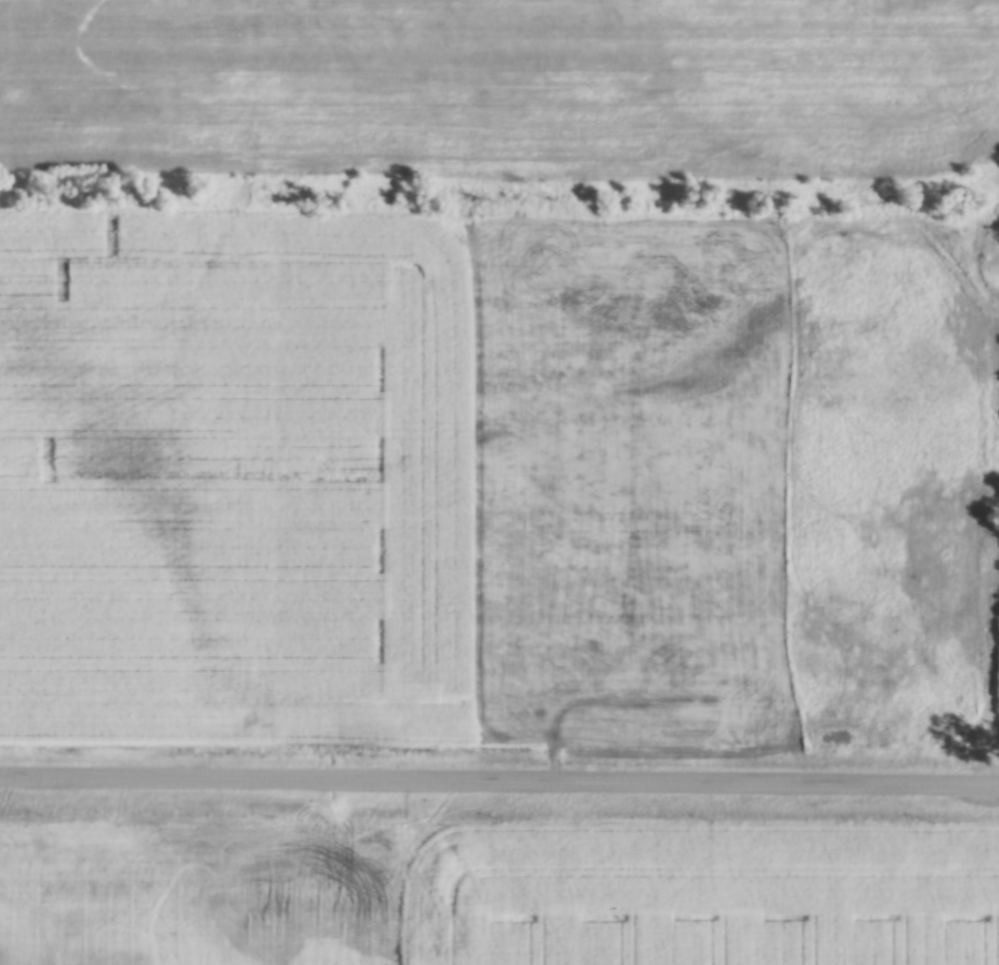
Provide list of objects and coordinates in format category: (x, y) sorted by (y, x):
road: (499, 779)

